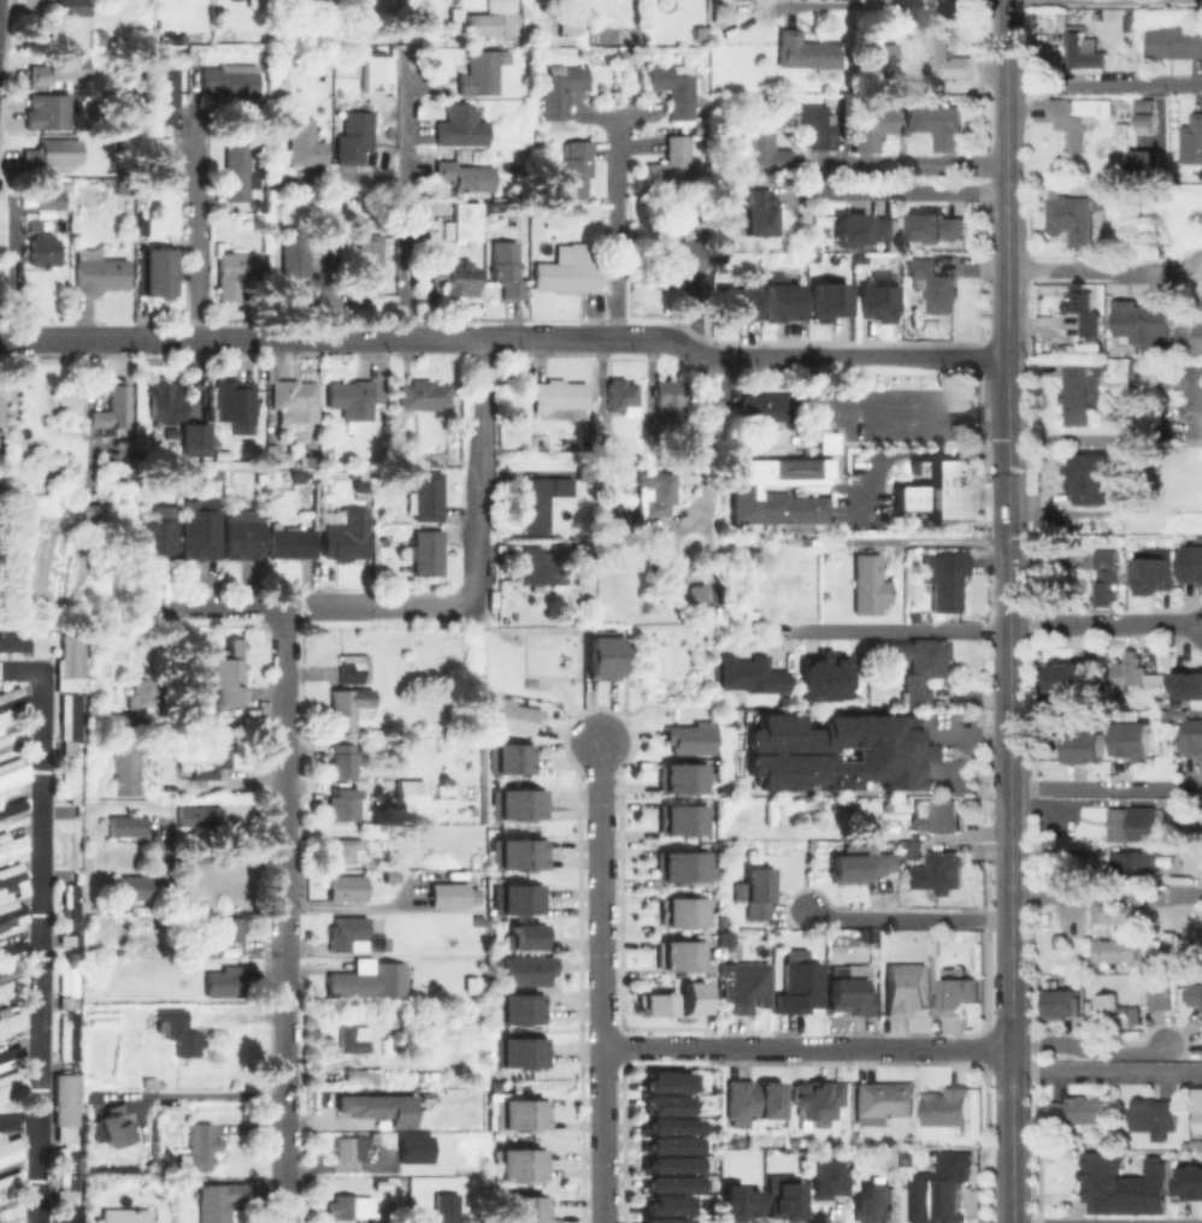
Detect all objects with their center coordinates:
road: (1079, 0)
building: (72, 7)
building: (718, 7)
building: (571, 19)
building: (509, 22)
building: (488, 26)
building: (541, 30)
building: (100, 36)
building: (1172, 41)
building: (1082, 48)
building: (805, 52)
building: (880, 53)
building: (948, 55)
building: (65, 72)
building: (372, 72)
building: (479, 73)
building: (229, 81)
road: (1103, 84)
building: (673, 88)
building: (560, 89)
building: (165, 95)
road: (1006, 96)
building: (1144, 102)
building: (49, 112)
building: (1080, 117)
building: (811, 123)
building: (1145, 123)
building: (939, 124)
building: (874, 125)
building: (461, 126)
building: (354, 136)
building: (1192, 141)
building: (305, 142)
building: (767, 149)
building: (55, 153)
building: (671, 163)
road: (903, 163)
building: (1148, 164)
building: (575, 169)
building: (237, 173)
building: (466, 177)
road: (901, 191)
building: (54, 195)
road: (405, 203)
building: (760, 215)
building: (1078, 218)
building: (688, 220)
building: (465, 223)
road: (613, 225)
road: (192, 226)
building: (939, 228)
building: (864, 230)
building: (422, 232)
building: (43, 249)
road: (330, 250)
building: (295, 258)
building: (438, 258)
building: (679, 259)
building: (369, 265)
building: (570, 267)
road: (1104, 268)
building: (507, 270)
building: (99, 271)
building: (159, 272)
building: (237, 272)
building: (460, 278)
building: (933, 284)
building: (830, 300)
building: (783, 303)
building: (877, 303)
building: (738, 306)
building: (1083, 308)
building: (1144, 324)
road: (328, 335)
road: (566, 335)
road: (67, 336)
building: (1191, 339)
road: (807, 355)
road: (1007, 364)
building: (1141, 373)
building: (1079, 392)
building: (425, 395)
building: (621, 395)
building: (558, 396)
building: (670, 400)
building: (167, 401)
building: (295, 402)
building: (352, 402)
building: (237, 406)
building: (770, 406)
road: (923, 408)
building: (112, 409)
building: (1192, 409)
building: (0, 412)
building: (172, 432)
road: (1078, 438)
building: (196, 441)
building: (603, 448)
road: (478, 465)
road: (709, 467)
building: (1091, 473)
building: (584, 474)
building: (360, 480)
building: (783, 485)
building: (561, 486)
building: (935, 489)
building: (429, 497)
building: (646, 500)
building: (534, 504)
building: (95, 514)
building: (200, 533)
building: (348, 534)
building: (158, 537)
building: (244, 538)
building: (290, 540)
road: (930, 540)
building: (429, 554)
building: (1195, 562)
building: (540, 566)
building: (1107, 574)
building: (1156, 577)
building: (944, 578)
road: (1008, 583)
building: (868, 584)
building: (696, 598)
road: (375, 604)
road: (212, 605)
road: (1104, 624)
road: (898, 632)
building: (13, 644)
building: (39, 646)
building: (600, 657)
building: (72, 664)
building: (919, 667)
building: (350, 669)
building: (1136, 673)
building: (229, 674)
building: (752, 675)
building: (824, 677)
building: (1071, 677)
building: (1189, 686)
building: (143, 693)
building: (13, 704)
building: (349, 707)
road: (1008, 709)
building: (71, 716)
building: (511, 716)
building: (118, 719)
building: (688, 738)
building: (1195, 739)
building: (1136, 742)
building: (70, 746)
building: (1085, 746)
building: (885, 750)
building: (507, 757)
building: (213, 760)
building: (343, 760)
building: (126, 766)
building: (14, 772)
building: (679, 778)
building: (71, 781)
road: (1103, 787)
building: (446, 790)
building: (409, 794)
building: (514, 803)
building: (343, 804)
building: (79, 809)
building: (13, 811)
building: (936, 814)
road: (1009, 815)
building: (200, 816)
building: (682, 819)
building: (1131, 822)
building: (129, 826)
building: (1200, 834)
building: (71, 845)
building: (515, 845)
building: (13, 847)
building: (343, 850)
road: (219, 859)
building: (515, 861)
building: (1132, 862)
building: (861, 864)
building: (932, 864)
building: (680, 865)
building: (12, 882)
building: (347, 887)
building: (131, 890)
building: (756, 893)
building: (455, 897)
building: (514, 898)
building: (422, 902)
building: (72, 908)
road: (1009, 908)
building: (683, 911)
building: (1112, 912)
road: (281, 914)
road: (907, 917)
building: (13, 920)
road: (41, 924)
building: (230, 928)
building: (862, 932)
building: (348, 934)
building: (523, 935)
building: (725, 935)
building: (77, 939)
building: (422, 940)
building: (1114, 950)
building: (1154, 950)
building: (12, 952)
building: (678, 955)
building: (523, 969)
building: (70, 977)
building: (225, 982)
building: (370, 982)
building: (471, 982)
road: (601, 982)
building: (12, 983)
building: (800, 983)
building: (744, 987)
building: (852, 989)
building: (906, 989)
building: (958, 994)
building: (1197, 995)
building: (691, 997)
building: (1160, 997)
building: (69, 1003)
building: (654, 1004)
building: (1065, 1005)
building: (515, 1008)
building: (1114, 1010)
building: (12, 1021)
building: (181, 1033)
building: (69, 1036)
building: (354, 1040)
building: (517, 1042)
road: (806, 1047)
road: (1086, 1050)
building: (12, 1056)
building: (517, 1059)
road: (1106, 1070)
building: (430, 1074)
building: (354, 1076)
building: (149, 1081)
building: (666, 1081)
building: (11, 1085)
road: (200, 1094)
road: (1010, 1097)
building: (426, 1098)
building: (817, 1099)
building: (755, 1101)
building: (885, 1101)
building: (661, 1103)
building: (363, 1106)
building: (948, 1107)
building: (397, 1111)
building: (515, 1111)
building: (1082, 1111)
building: (1156, 1116)
road: (19, 1119)
building: (1200, 1122)
building: (668, 1124)
building: (114, 1127)
building: (65, 1128)
building: (737, 1141)
building: (12, 1142)
building: (667, 1145)
building: (202, 1146)
building: (416, 1148)
building: (350, 1152)
building: (668, 1163)
building: (517, 1164)
building: (825, 1174)
building: (11, 1181)
building: (667, 1182)
building: (1192, 1182)
building: (1142, 1183)
building: (385, 1184)
building: (63, 1195)
building: (785, 1195)
building: (742, 1198)
building: (941, 1198)
building: (217, 1201)
building: (874, 1201)
building: (664, 1204)
building: (349, 1206)
building: (446, 1209)
building: (524, 1209)
building: (10, 1210)
building: (69, 1213)
building: (125, 1216)
building: (382, 1219)
building: (662, 1219)

